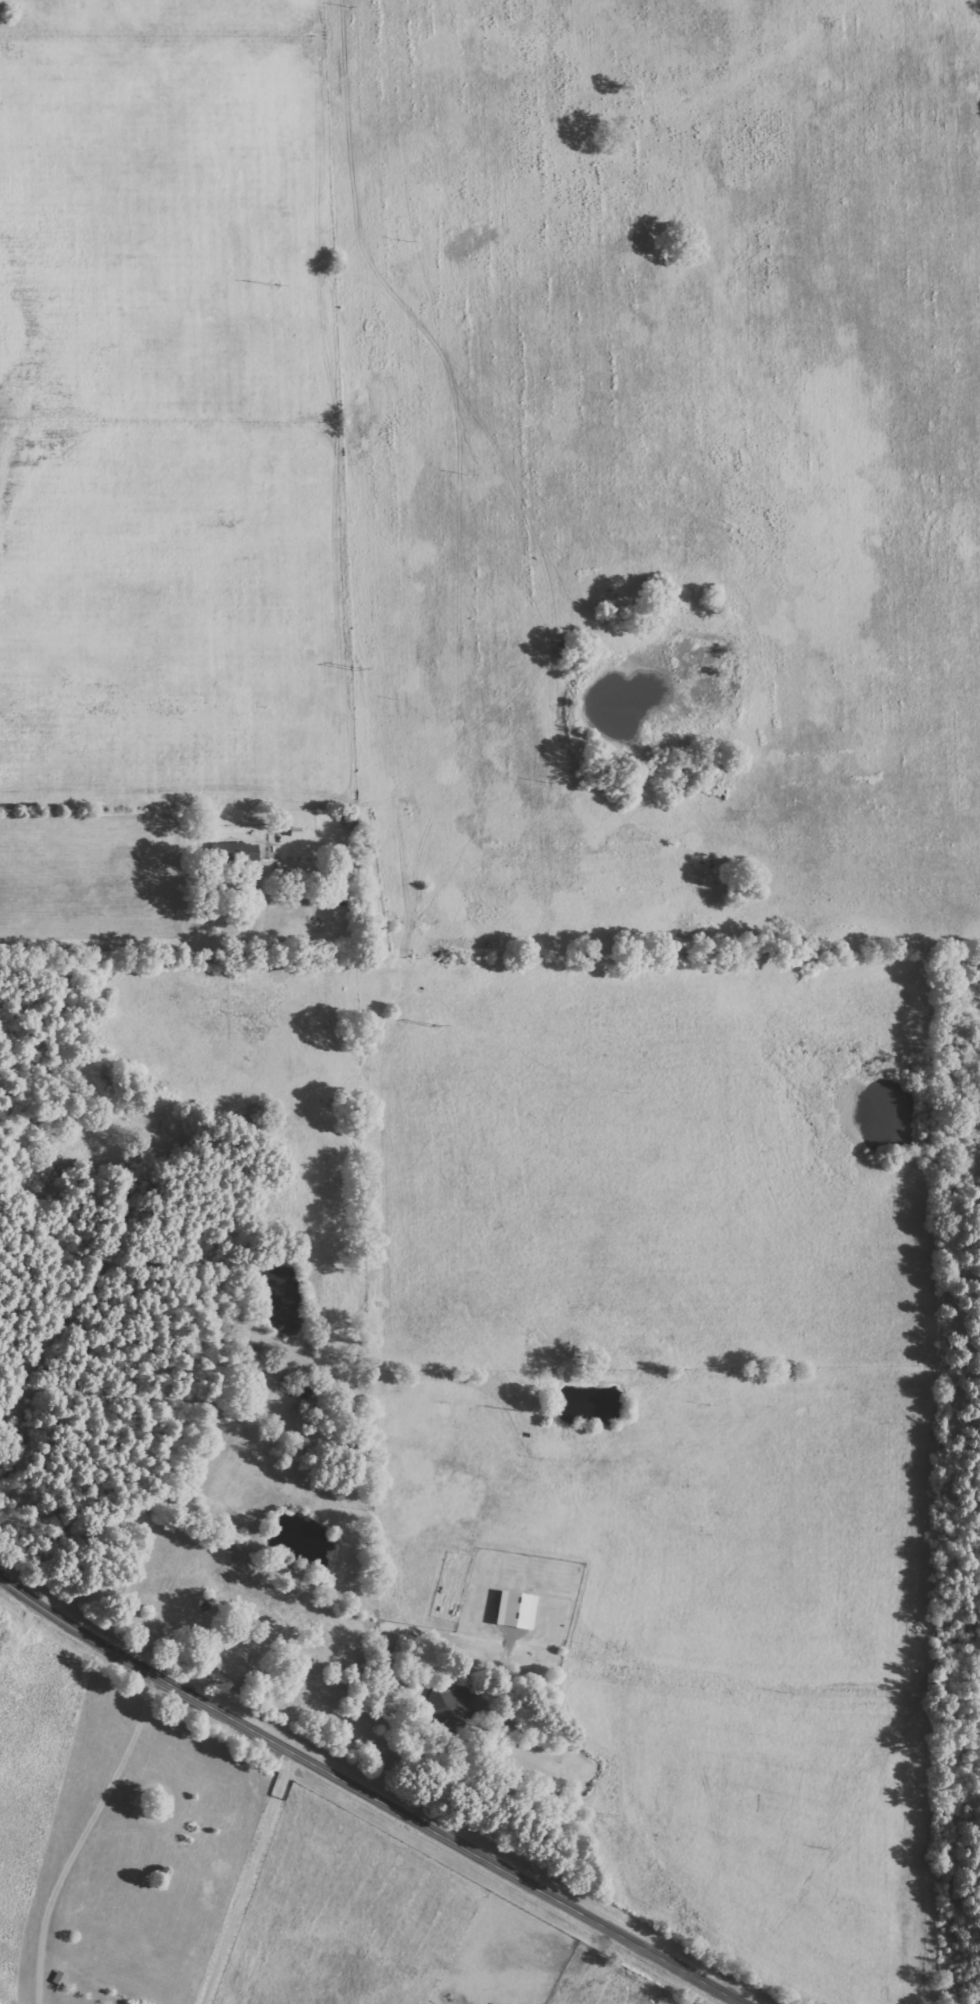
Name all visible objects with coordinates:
power tower: (270, 281)
power tower: (353, 666)
road: (149, 948)
power tower: (432, 1025)
power tower: (515, 1410)
building: (511, 1612)
road: (23, 1633)
road: (374, 1791)
power tower: (602, 1815)

